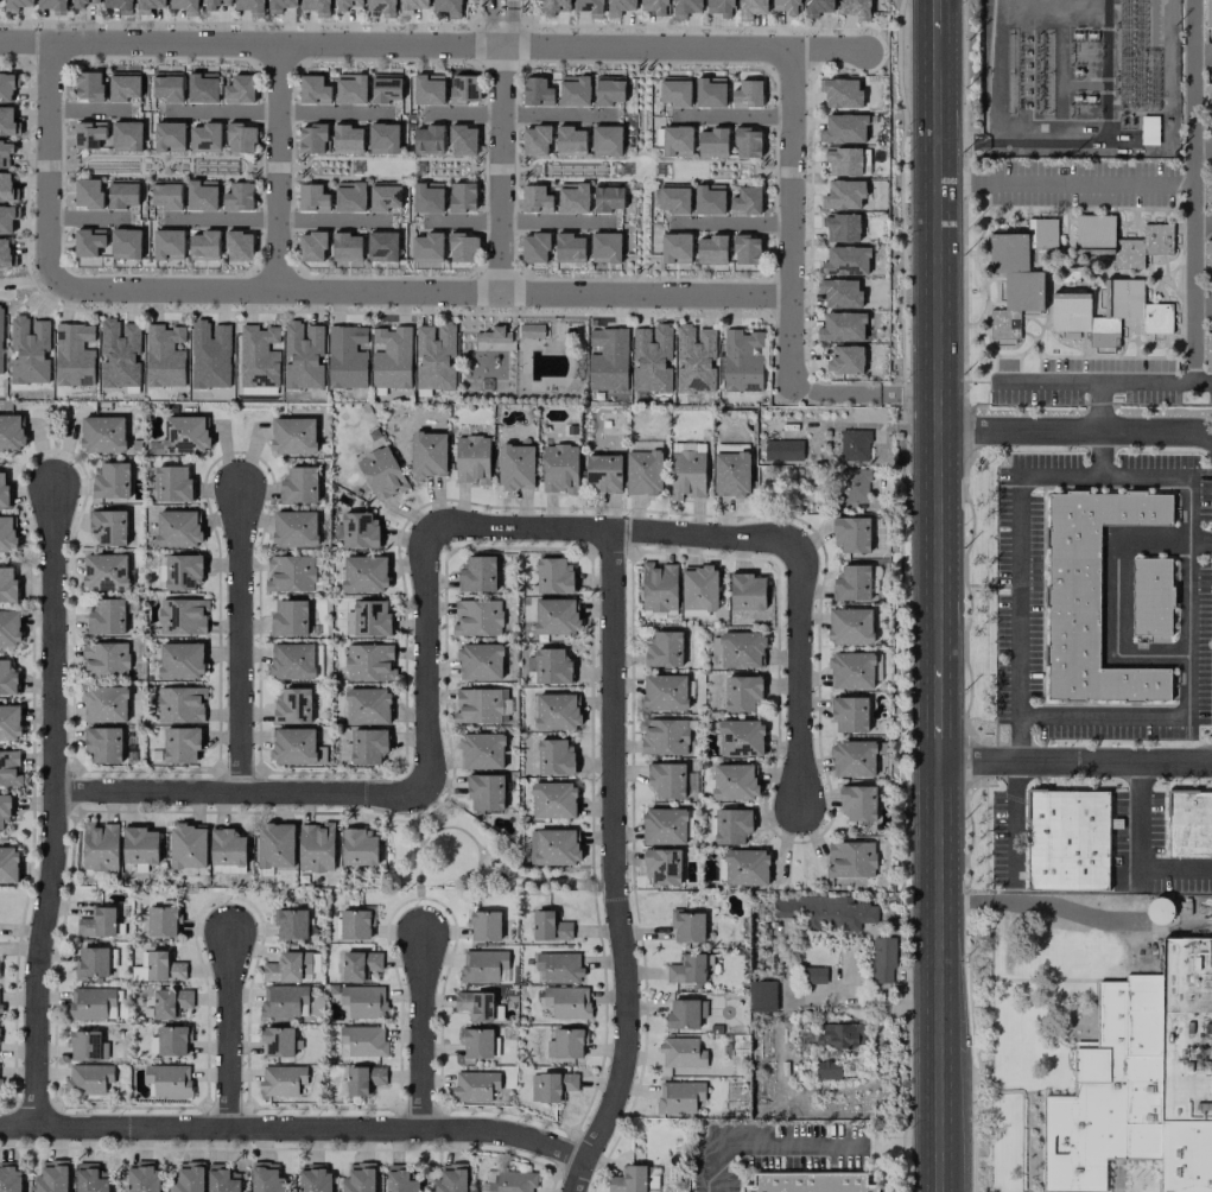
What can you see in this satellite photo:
building: (77, 4)
building: (15, 5)
building: (119, 5)
building: (147, 5)
building: (209, 5)
building: (279, 5)
building: (342, 5)
building: (52, 6)
building: (184, 6)
building: (250, 6)
building: (411, 6)
building: (618, 6)
building: (654, 6)
building: (786, 6)
building: (316, 7)
building: (381, 7)
building: (448, 7)
building: (553, 7)
building: (589, 7)
building: (685, 7)
building: (719, 7)
building: (816, 7)
building: (750, 8)
building: (856, 8)
building: (1207, 13)
road: (935, 17)
road: (501, 21)
road: (275, 42)
road: (26, 44)
road: (681, 46)
road: (1201, 53)
road: (1192, 72)
building: (88, 85)
building: (123, 85)
building: (6, 87)
building: (166, 87)
building: (201, 88)
building: (349, 88)
building: (385, 88)
building: (239, 89)
building: (313, 89)
building: (427, 89)
building: (463, 89)
building: (573, 90)
building: (608, 90)
building: (537, 91)
building: (674, 91)
building: (710, 93)
building: (840, 93)
building: (747, 94)
building: (1207, 102)
road: (83, 109)
road: (279, 112)
road: (515, 114)
road: (728, 115)
building: (6, 120)
building: (843, 128)
building: (88, 134)
building: (126, 135)
building: (169, 135)
building: (204, 138)
building: (240, 138)
building: (382, 138)
building: (311, 139)
building: (347, 139)
building: (427, 139)
building: (462, 140)
building: (534, 140)
building: (605, 140)
building: (677, 140)
building: (570, 141)
building: (711, 142)
building: (747, 142)
road: (1203, 146)
building: (6, 150)
road: (47, 160)
road: (1193, 163)
road: (275, 164)
road: (501, 167)
road: (1065, 180)
building: (5, 186)
building: (87, 192)
building: (121, 194)
building: (165, 194)
building: (844, 194)
building: (201, 195)
building: (1207, 195)
building: (349, 196)
building: (383, 196)
building: (461, 196)
building: (237, 197)
building: (311, 197)
building: (426, 197)
building: (572, 197)
building: (607, 197)
building: (534, 198)
building: (673, 198)
building: (709, 199)
building: (745, 201)
road: (787, 215)
road: (274, 218)
building: (6, 220)
road: (83, 220)
road: (513, 221)
road: (729, 221)
road: (1203, 224)
building: (840, 227)
building: (1121, 240)
building: (88, 242)
building: (125, 243)
building: (167, 243)
building: (203, 245)
building: (237, 246)
building: (311, 246)
building: (381, 246)
building: (462, 247)
building: (534, 247)
building: (675, 247)
building: (569, 248)
building: (347, 249)
building: (605, 249)
building: (711, 249)
building: (427, 251)
building: (745, 251)
building: (4, 253)
building: (1207, 260)
building: (845, 261)
building: (1013, 284)
road: (1193, 287)
road: (419, 289)
building: (839, 293)
road: (1203, 305)
building: (1108, 312)
building: (842, 326)
building: (491, 335)
building: (0, 341)
road: (937, 349)
building: (28, 350)
building: (119, 353)
building: (1207, 353)
building: (209, 354)
building: (74, 355)
building: (303, 355)
building: (164, 356)
building: (258, 356)
building: (434, 356)
building: (345, 357)
building: (391, 357)
building: (694, 359)
building: (607, 360)
building: (844, 360)
building: (741, 361)
road: (1094, 381)
road: (832, 391)
road: (908, 392)
road: (1098, 407)
building: (11, 431)
road: (1075, 433)
building: (102, 435)
building: (183, 435)
building: (292, 436)
building: (854, 445)
building: (782, 450)
building: (427, 455)
road: (1099, 455)
building: (471, 459)
building: (515, 467)
building: (559, 468)
building: (381, 473)
building: (603, 473)
building: (642, 473)
building: (686, 474)
building: (730, 474)
road: (1162, 478)
building: (112, 481)
building: (173, 483)
building: (299, 484)
building: (852, 484)
building: (4, 492)
building: (108, 527)
building: (177, 527)
building: (294, 528)
building: (358, 530)
road: (610, 531)
building: (6, 533)
building: (851, 533)
road: (1200, 539)
building: (104, 571)
building: (183, 571)
building: (290, 573)
building: (364, 573)
building: (477, 575)
building: (553, 575)
building: (851, 583)
building: (658, 587)
building: (698, 588)
building: (747, 591)
road: (1116, 597)
building: (1153, 602)
building: (1092, 603)
building: (182, 616)
building: (554, 616)
building: (107, 617)
building: (288, 617)
building: (477, 617)
building: (367, 619)
building: (849, 626)
building: (9, 628)
road: (240, 642)
building: (664, 648)
building: (741, 649)
building: (180, 660)
building: (291, 660)
building: (480, 661)
building: (369, 662)
road: (426, 662)
building: (551, 667)
building: (850, 671)
road: (798, 677)
building: (7, 679)
building: (665, 692)
building: (742, 693)
building: (104, 704)
building: (179, 704)
building: (292, 705)
building: (481, 705)
building: (367, 706)
building: (556, 711)
building: (849, 714)
road: (939, 715)
building: (9, 722)
building: (664, 736)
building: (740, 737)
building: (103, 744)
building: (180, 744)
building: (292, 746)
building: (481, 750)
building: (554, 757)
building: (852, 759)
road: (1075, 765)
building: (8, 767)
building: (666, 779)
building: (486, 792)
road: (239, 793)
building: (553, 800)
building: (857, 803)
road: (55, 810)
building: (4, 811)
road: (1009, 818)
building: (664, 825)
building: (731, 825)
building: (1191, 825)
building: (1068, 842)
building: (139, 844)
building: (275, 844)
building: (188, 845)
building: (99, 847)
building: (316, 847)
building: (553, 847)
building: (358, 848)
building: (227, 851)
road: (613, 851)
road: (1141, 854)
building: (850, 858)
building: (8, 864)
building: (661, 867)
building: (745, 867)
road: (1042, 902)
building: (1159, 911)
building: (827, 912)
building: (161, 921)
building: (97, 922)
building: (291, 924)
building: (355, 924)
building: (484, 925)
building: (550, 926)
building: (687, 926)
road: (939, 932)
building: (882, 959)
building: (91, 962)
building: (360, 964)
building: (164, 966)
building: (288, 966)
building: (483, 966)
building: (558, 966)
building: (139, 969)
building: (687, 969)
building: (813, 975)
road: (787, 987)
building: (761, 996)
building: (283, 1000)
building: (363, 1001)
building: (566, 1001)
building: (170, 1002)
building: (91, 1003)
building: (477, 1006)
building: (683, 1014)
road: (230, 1033)
road: (421, 1034)
building: (839, 1034)
building: (169, 1041)
building: (277, 1041)
building: (363, 1041)
building: (475, 1042)
building: (565, 1044)
building: (84, 1045)
building: (681, 1053)
building: (826, 1070)
building: (89, 1079)
building: (169, 1079)
building: (281, 1079)
building: (363, 1079)
building: (1141, 1080)
building: (551, 1085)
building: (679, 1096)
road: (293, 1129)
road: (940, 1146)
road: (766, 1147)
building: (52, 1177)
building: (142, 1177)
road: (577, 1177)
building: (9, 1178)
building: (90, 1178)
building: (188, 1178)
building: (266, 1178)
building: (313, 1178)
building: (358, 1178)
building: (451, 1178)
building: (222, 1179)
building: (399, 1179)
building: (627, 1179)
building: (652, 1179)
building: (508, 1181)
building: (807, 1183)

